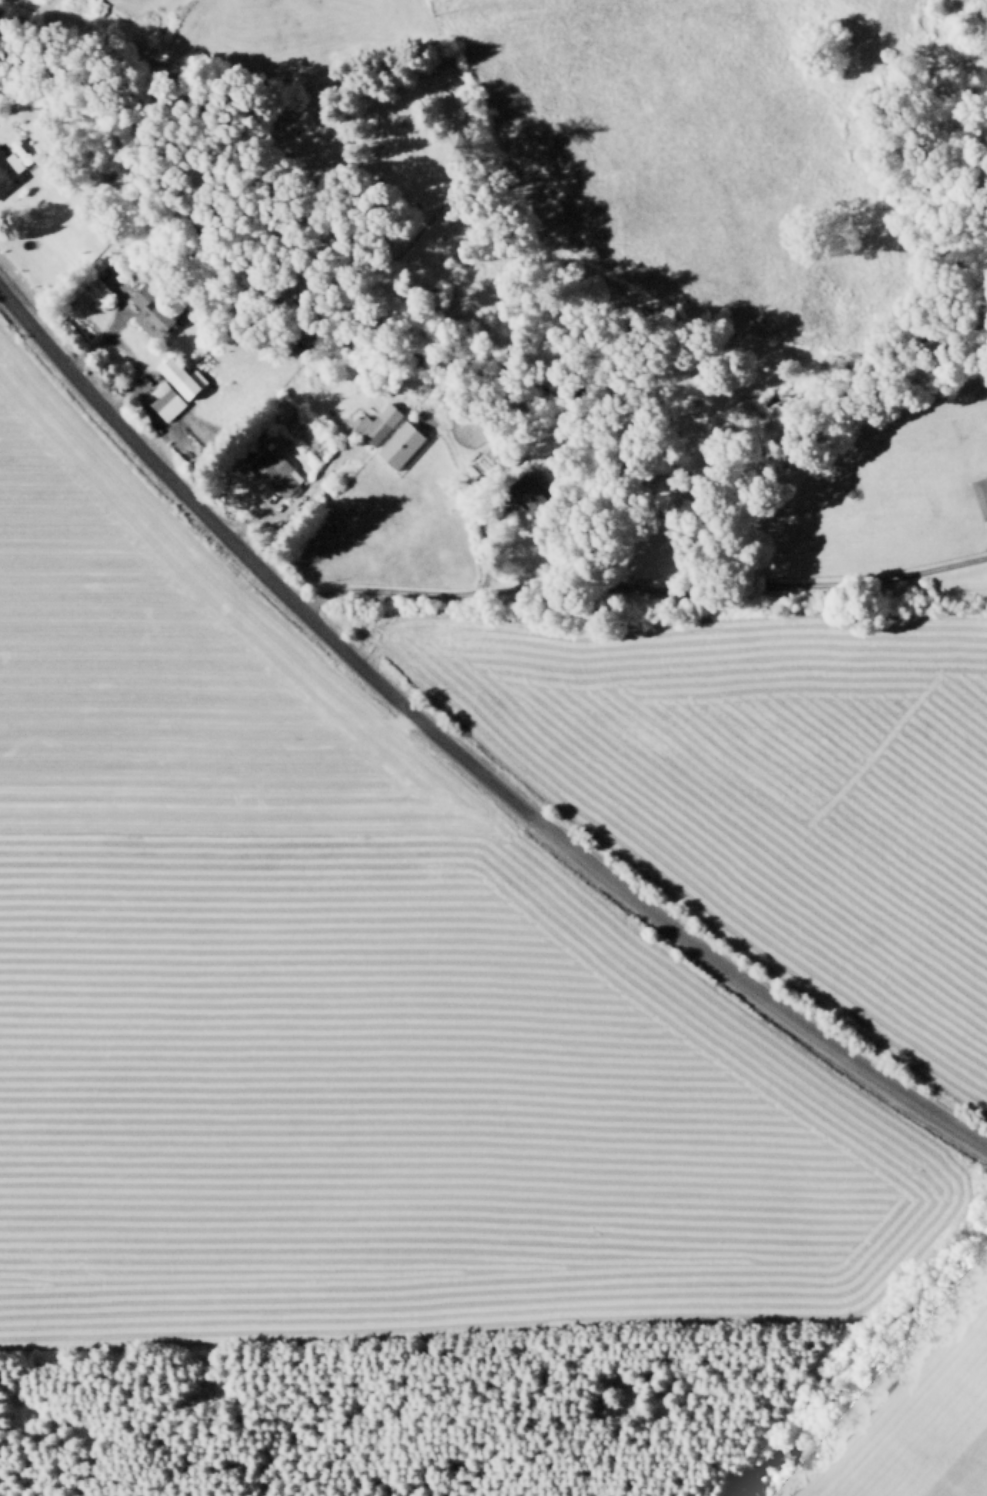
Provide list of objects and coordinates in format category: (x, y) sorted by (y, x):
crop: (655, 119)
building: (8, 168)
building: (95, 289)
building: (149, 312)
building: (170, 368)
building: (162, 399)
building: (374, 421)
building: (397, 442)
building: (273, 472)
building: (529, 492)
building: (980, 494)
road: (471, 498)
road: (639, 585)
road: (461, 755)
crop: (476, 1035)

